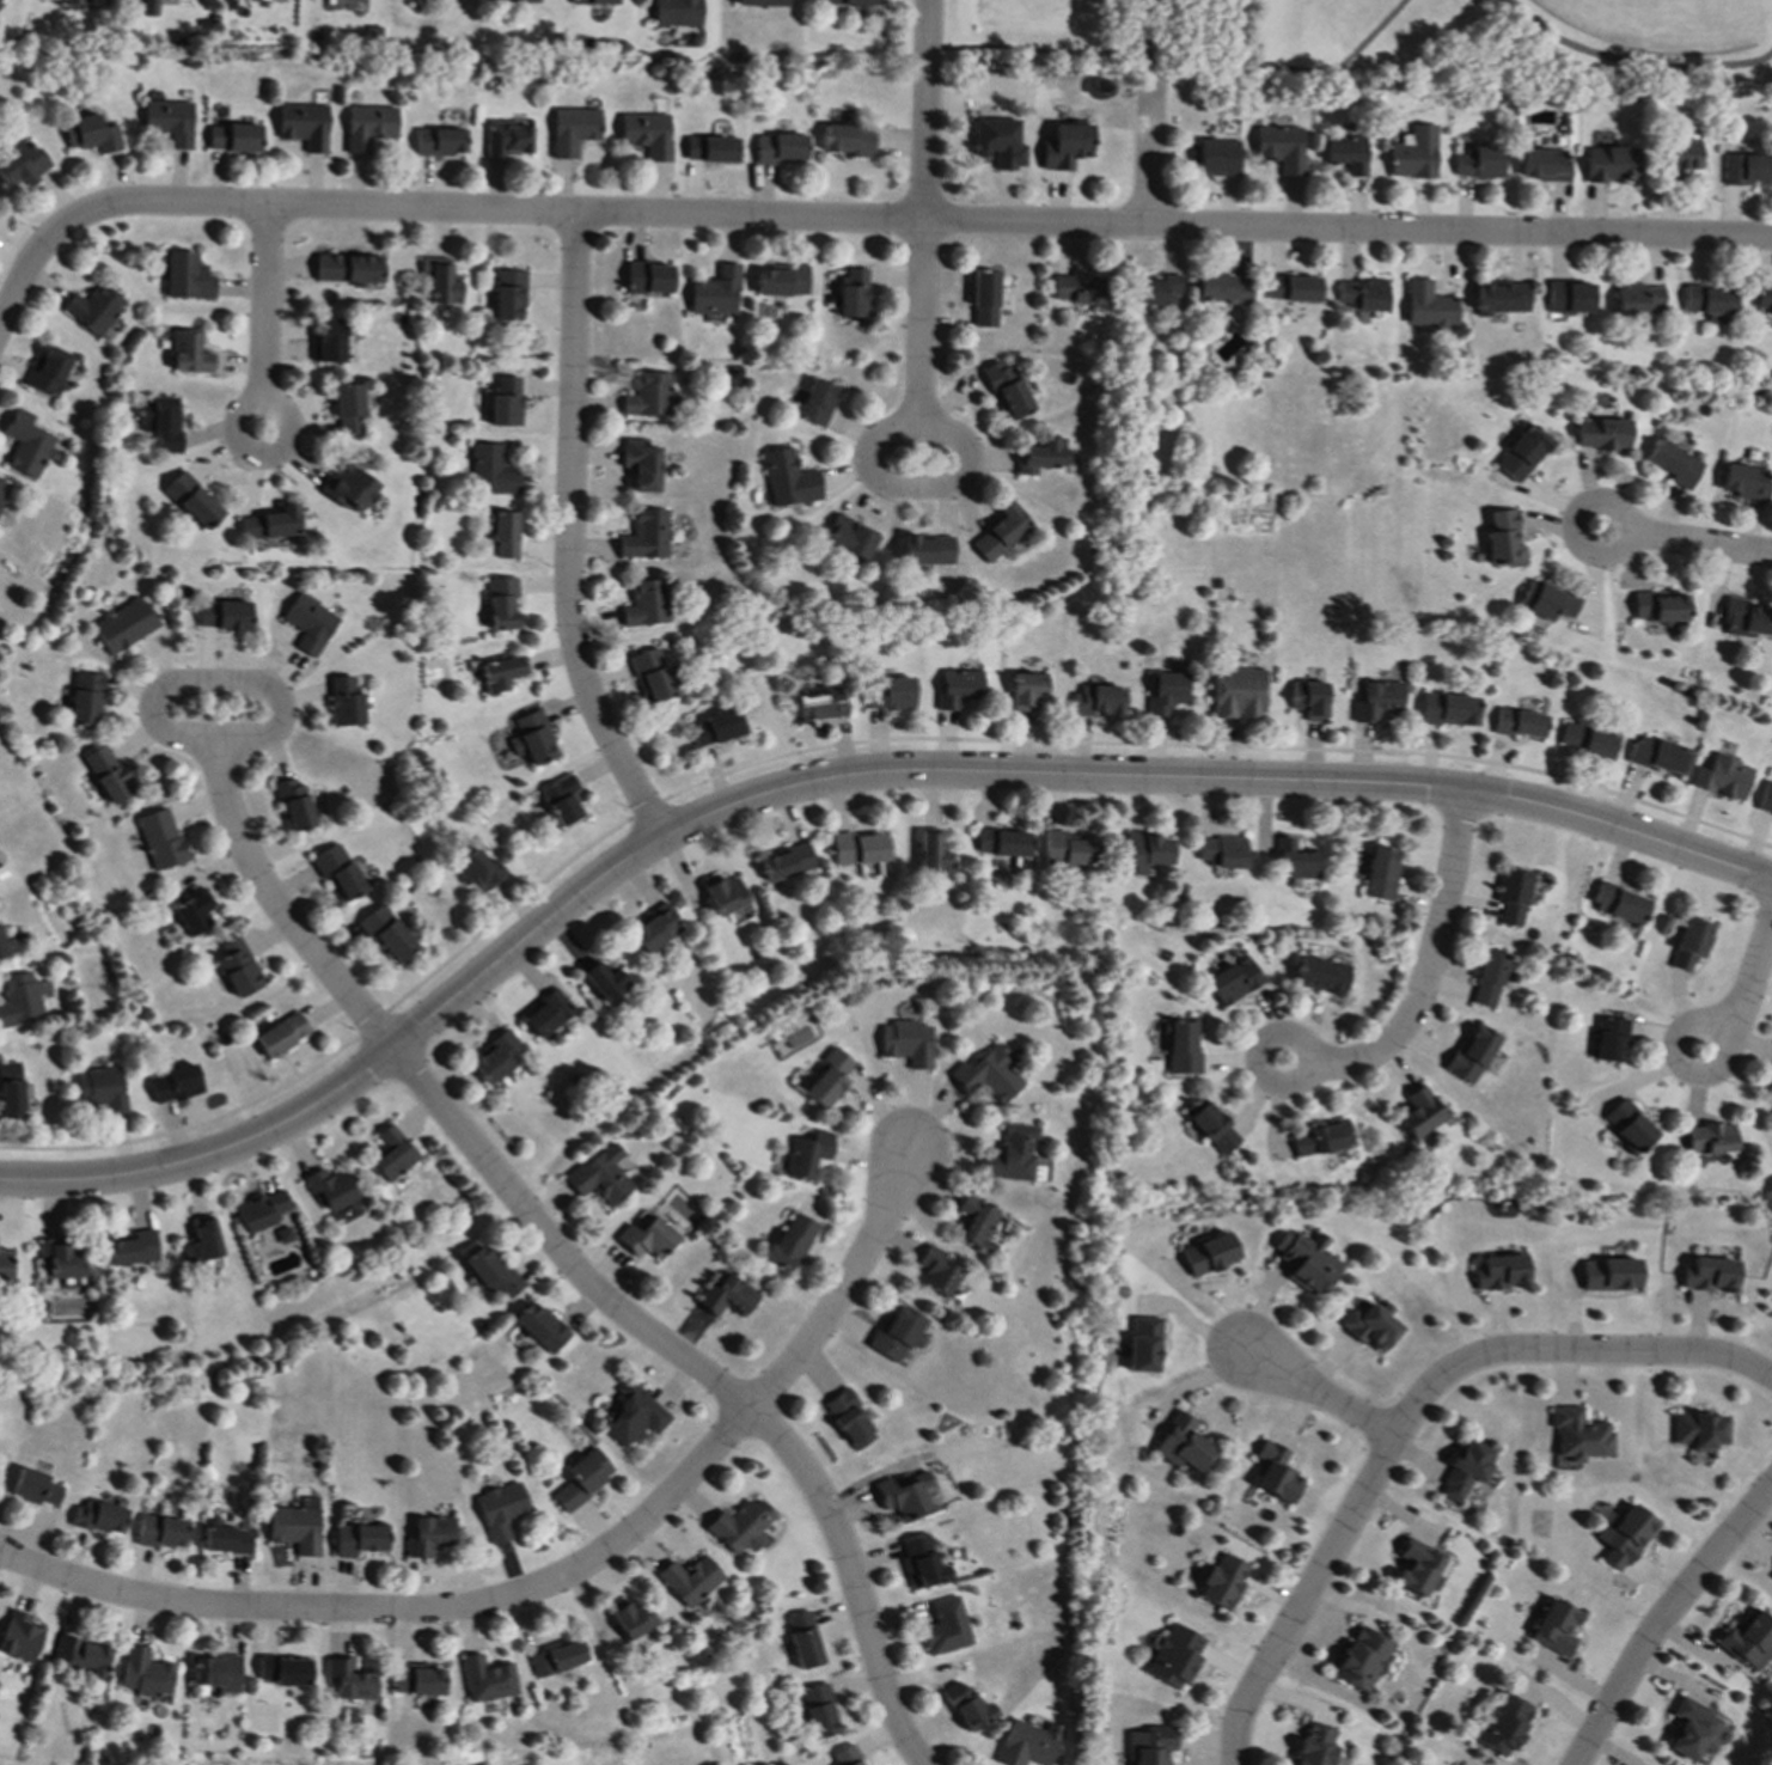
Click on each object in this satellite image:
building: (513, 1)
building: (83, 2)
building: (594, 2)
building: (850, 2)
building: (762, 4)
building: (148, 8)
building: (677, 13)
road: (1145, 31)
park: (1368, 43)
road: (1633, 62)
road: (1183, 65)
road: (927, 110)
building: (170, 122)
building: (305, 126)
building: (368, 128)
building: (574, 130)
building: (91, 135)
building: (648, 135)
building: (234, 139)
building: (507, 139)
building: (850, 140)
building: (440, 142)
road: (1151, 142)
building: (998, 143)
building: (1065, 146)
building: (780, 148)
building: (1281, 148)
building: (714, 151)
building: (1346, 153)
building: (1414, 154)
building: (1680, 157)
building: (1217, 158)
building: (1480, 164)
building: (23, 165)
building: (1545, 165)
building: (1613, 165)
building: (1746, 170)
road: (855, 219)
building: (349, 270)
building: (189, 277)
building: (649, 279)
building: (441, 281)
building: (783, 281)
building: (1077, 289)
building: (1223, 289)
building: (1293, 289)
building: (1157, 292)
building: (716, 293)
building: (854, 293)
building: (509, 294)
building: (1362, 295)
building: (1501, 298)
building: (1570, 298)
building: (1764, 298)
building: (984, 300)
building: (1639, 300)
building: (1709, 304)
building: (1428, 306)
road: (267, 307)
building: (96, 309)
road: (923, 329)
building: (330, 341)
building: (190, 354)
building: (49, 372)
building: (1007, 391)
building: (649, 396)
building: (506, 403)
building: (817, 403)
building: (349, 410)
building: (163, 423)
building: (1602, 434)
road: (287, 441)
building: (28, 445)
building: (1523, 454)
building: (1040, 457)
building: (1675, 464)
building: (641, 465)
building: (491, 471)
building: (789, 480)
building: (1747, 483)
road: (886, 485)
building: (348, 488)
building: (2, 491)
building: (194, 501)
building: (270, 525)
building: (1000, 532)
building: (503, 533)
road: (569, 536)
building: (646, 536)
road: (1577, 537)
building: (851, 538)
building: (1504, 541)
road: (1699, 543)
building: (927, 551)
building: (1546, 601)
building: (501, 604)
building: (647, 605)
building: (1658, 609)
building: (224, 616)
building: (1747, 619)
building: (310, 624)
building: (126, 627)
building: (502, 673)
building: (652, 677)
road: (236, 686)
building: (958, 689)
building: (1027, 690)
building: (1239, 694)
building: (888, 695)
building: (87, 700)
building: (1098, 701)
building: (1309, 701)
building: (1377, 701)
building: (346, 702)
building: (820, 703)
building: (1448, 710)
building: (1520, 723)
building: (715, 729)
building: (532, 738)
building: (1588, 741)
road: (833, 746)
building: (1660, 756)
building: (110, 776)
road: (833, 778)
building: (1725, 778)
building: (562, 800)
building: (1766, 800)
building: (294, 805)
building: (163, 839)
building: (1003, 843)
building: (858, 849)
building: (1067, 850)
building: (1148, 853)
building: (1223, 853)
building: (931, 855)
building: (1295, 862)
building: (786, 863)
building: (478, 871)
building: (338, 872)
building: (2, 873)
building: (1381, 874)
building: (725, 896)
building: (1514, 896)
building: (1620, 904)
road: (277, 908)
building: (195, 914)
building: (655, 929)
building: (387, 934)
building: (1691, 943)
building: (2, 949)
road: (1432, 964)
building: (239, 967)
building: (1322, 976)
building: (1490, 979)
building: (1235, 982)
building: (605, 983)
road: (1753, 988)
building: (18, 1000)
building: (548, 1015)
building: (281, 1036)
road: (1682, 1038)
building: (1612, 1039)
building: (908, 1044)
building: (1184, 1048)
building: (1473, 1055)
building: (497, 1056)
road: (1261, 1067)
building: (988, 1076)
building: (829, 1080)
building: (175, 1085)
building: (102, 1089)
building: (1768, 1089)
building: (11, 1091)
building: (1419, 1113)
building: (1212, 1126)
building: (1630, 1126)
building: (1710, 1138)
building: (1321, 1140)
building: (392, 1155)
building: (807, 1155)
building: (1012, 1155)
building: (601, 1177)
building: (330, 1190)
building: (263, 1210)
building: (978, 1224)
building: (285, 1235)
building: (648, 1239)
building: (792, 1241)
building: (202, 1242)
building: (133, 1250)
building: (1211, 1256)
building: (62, 1259)
building: (1308, 1262)
building: (5, 1266)
building: (490, 1272)
building: (939, 1272)
building: (1503, 1274)
building: (1612, 1275)
building: (1711, 1276)
road: (844, 1287)
building: (727, 1297)
building: (1371, 1326)
building: (540, 1329)
building: (898, 1335)
building: (1147, 1345)
road: (705, 1376)
road: (1322, 1395)
building: (634, 1416)
road: (1410, 1417)
building: (850, 1419)
building: (1700, 1431)
building: (1581, 1436)
building: (1184, 1445)
building: (1465, 1471)
building: (1276, 1473)
building: (583, 1479)
building: (36, 1489)
building: (905, 1496)
building: (501, 1510)
building: (99, 1517)
building: (741, 1527)
building: (297, 1529)
building: (163, 1533)
building: (429, 1535)
building: (1625, 1537)
building: (226, 1539)
building: (360, 1540)
building: (922, 1564)
building: (1418, 1568)
building: (1771, 1576)
building: (1771, 1577)
building: (689, 1581)
building: (1223, 1583)
road: (405, 1611)
building: (631, 1620)
road: (1664, 1620)
building: (946, 1627)
building: (1556, 1629)
building: (20, 1637)
building: (1749, 1641)
building: (805, 1642)
building: (83, 1656)
building: (1178, 1657)
building: (558, 1660)
building: (1363, 1660)
building: (285, 1672)
building: (145, 1674)
building: (218, 1674)
building: (417, 1680)
building: (488, 1680)
building: (350, 1681)
building: (967, 1706)
building: (820, 1711)
building: (1503, 1724)
building: (1691, 1729)
building: (1028, 1745)
building: (1153, 1746)
building: (1316, 1746)
building: (845, 1757)

